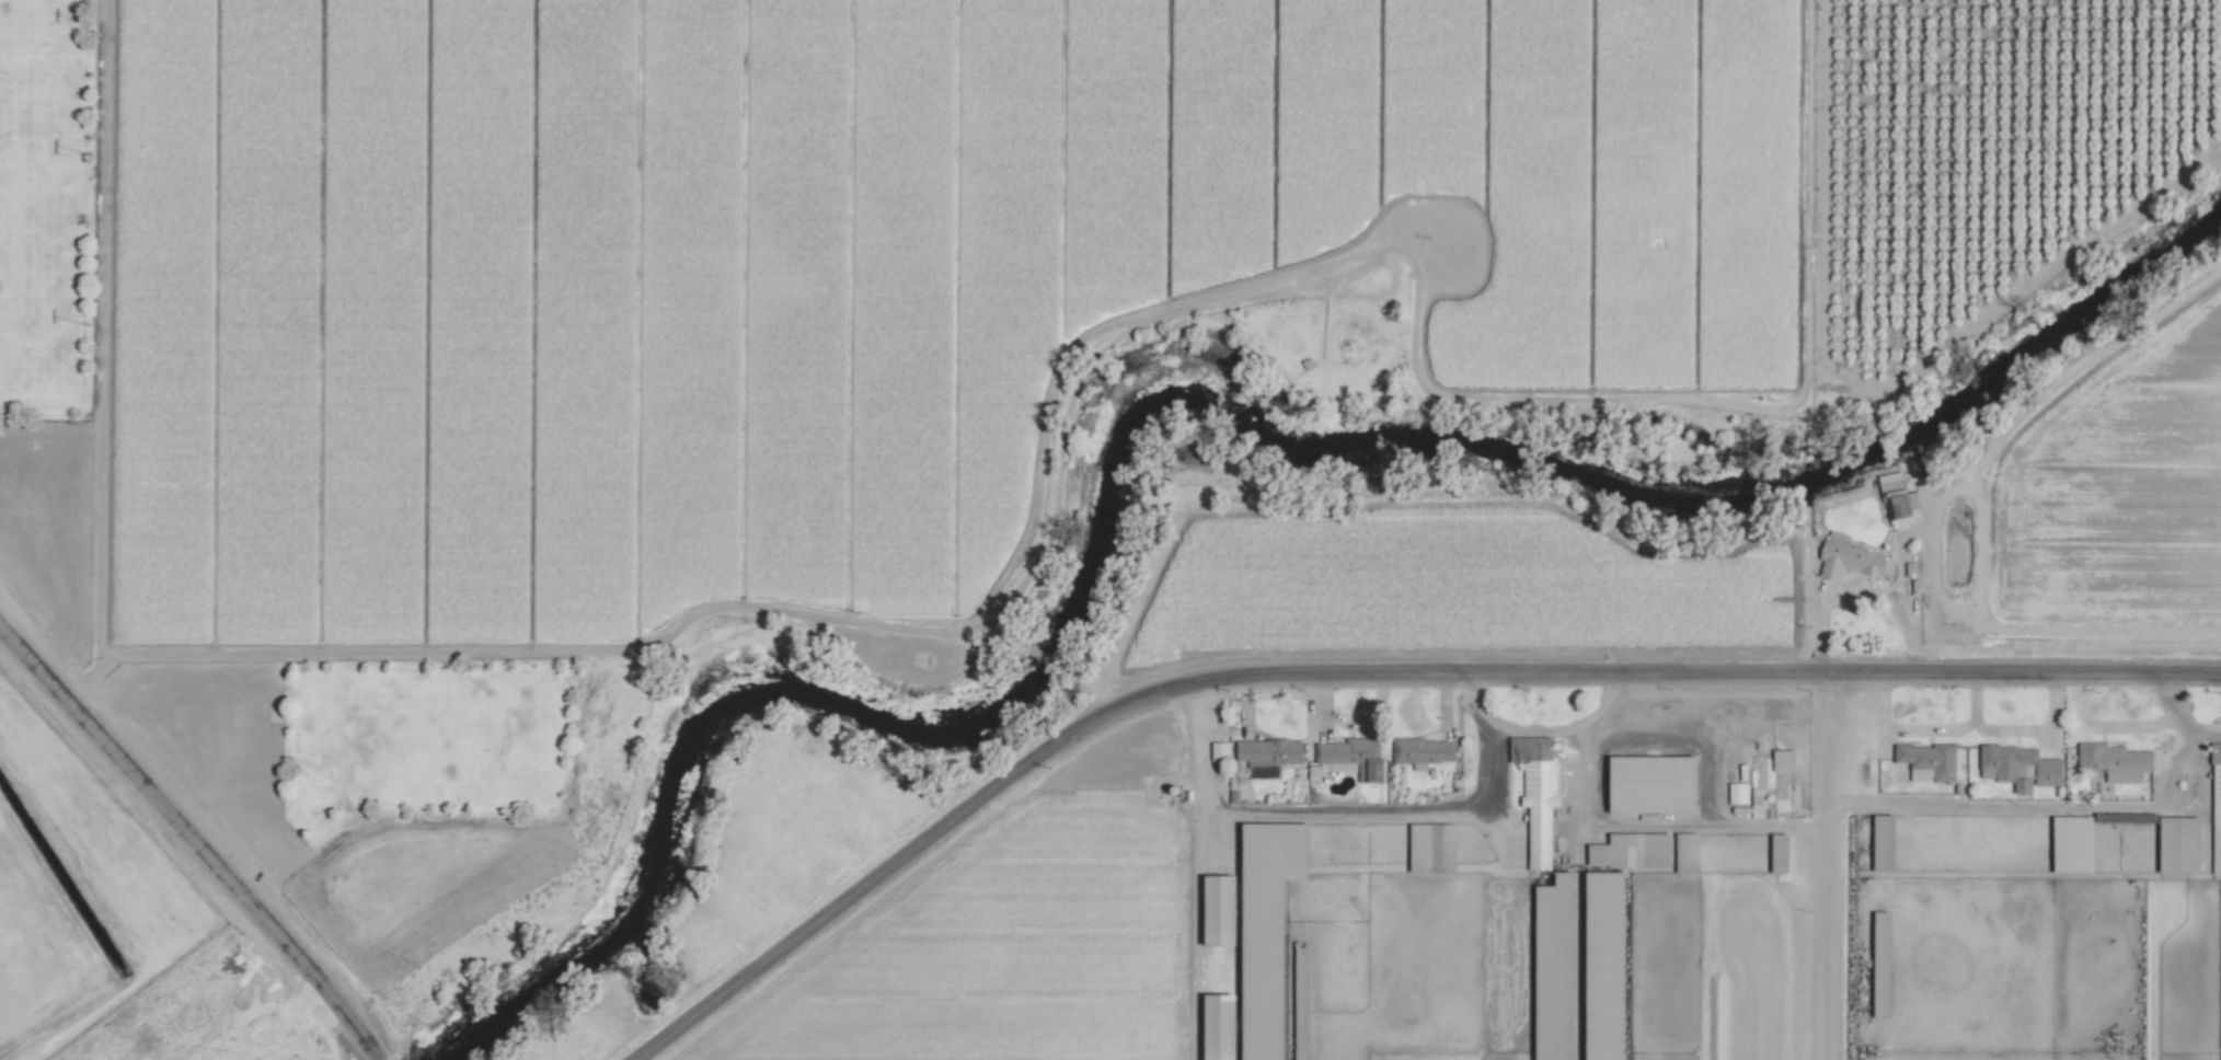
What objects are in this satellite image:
building: (1451, 257)
building: (1366, 331)
park: (64, 366)
crop: (1286, 476)
building: (1894, 494)
building: (1846, 557)
road: (1693, 675)
road: (1471, 703)
road: (2109, 726)
road: (2036, 728)
road: (1924, 729)
road: (2208, 736)
building: (1219, 750)
building: (1268, 750)
building: (1423, 750)
building: (1351, 757)
building: (1783, 759)
building: (2114, 760)
building: (1927, 761)
road: (1711, 765)
building: (2018, 765)
building: (1652, 783)
building: (1537, 792)
building: (1738, 792)
road: (2067, 807)
building: (2216, 808)
building: (1757, 809)
road: (1385, 813)
building: (1883, 841)
building: (2072, 842)
road: (189, 843)
building: (2179, 843)
building: (1431, 846)
building: (1631, 849)
building: (1779, 852)
road: (894, 861)
road: (1827, 867)
airport: (76, 894)
building: (1218, 909)
building: (1556, 914)
building: (1218, 1026)

